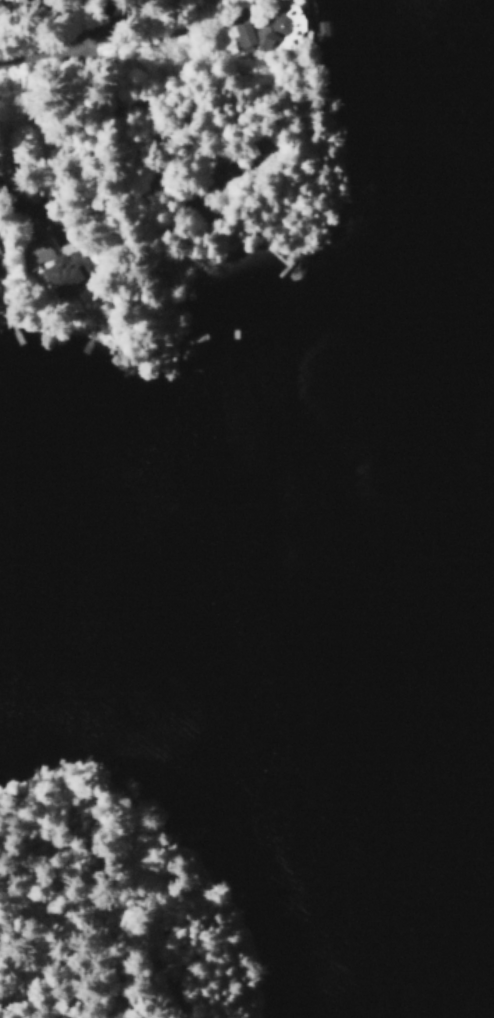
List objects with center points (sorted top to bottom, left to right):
building: (263, 31)
road: (49, 57)
building: (0, 254)
building: (54, 265)

